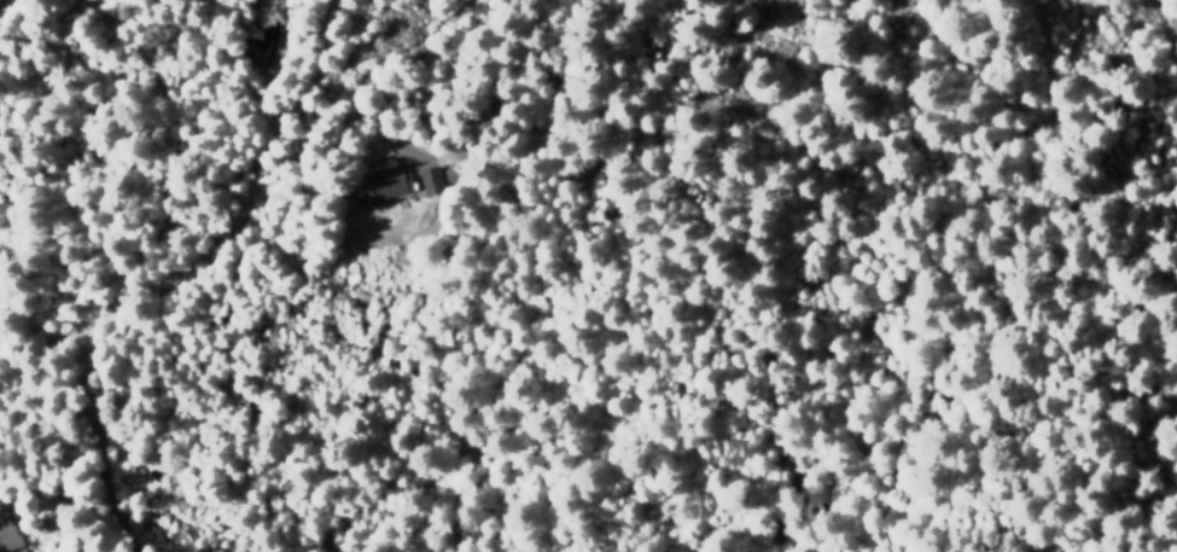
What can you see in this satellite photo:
building: (429, 179)
building: (391, 184)
road: (175, 274)
building: (10, 540)

